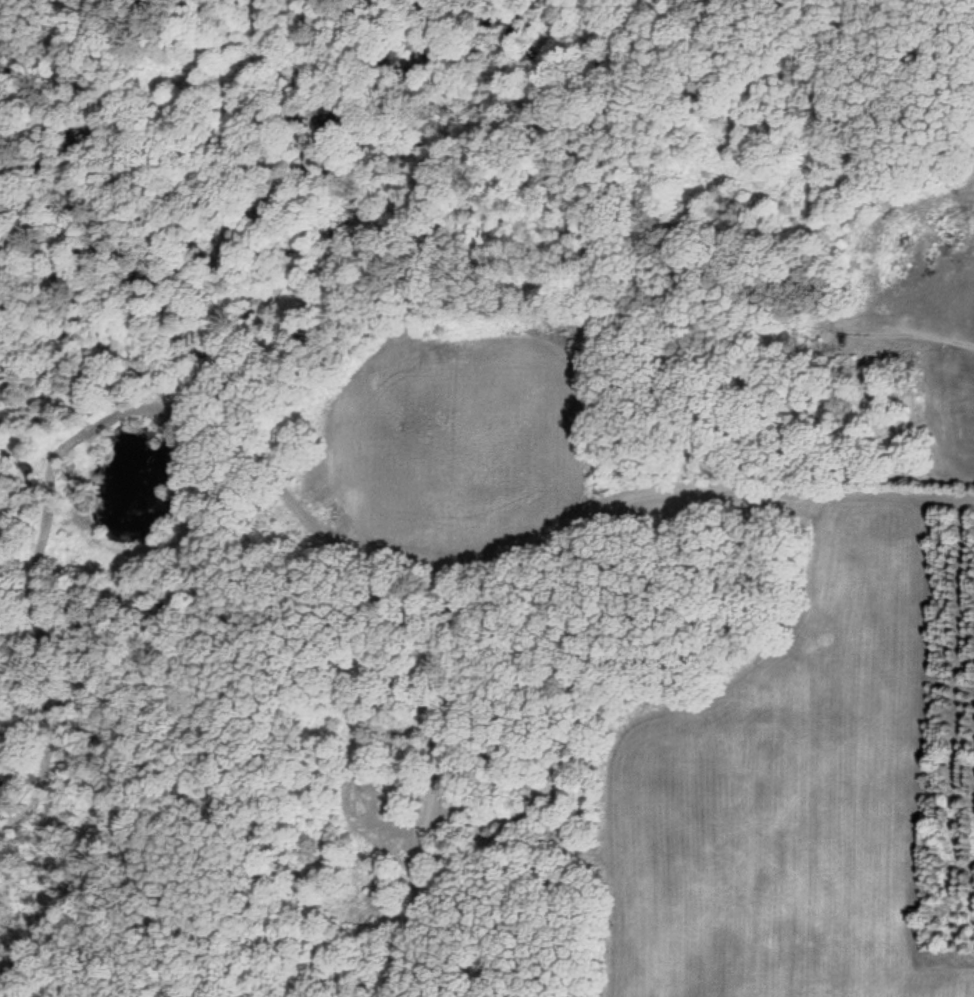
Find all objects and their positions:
road: (888, 341)

